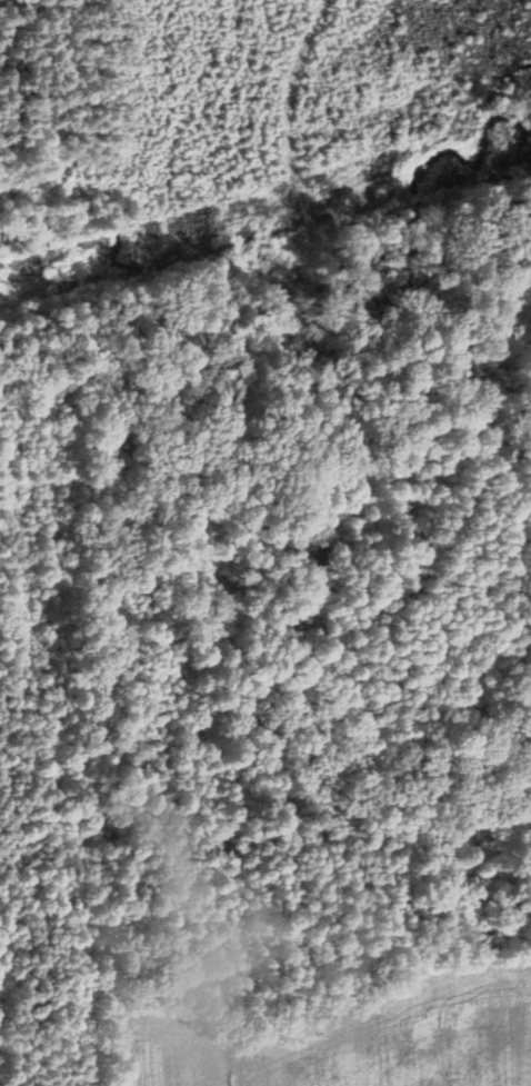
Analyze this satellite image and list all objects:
power tower: (287, 201)

